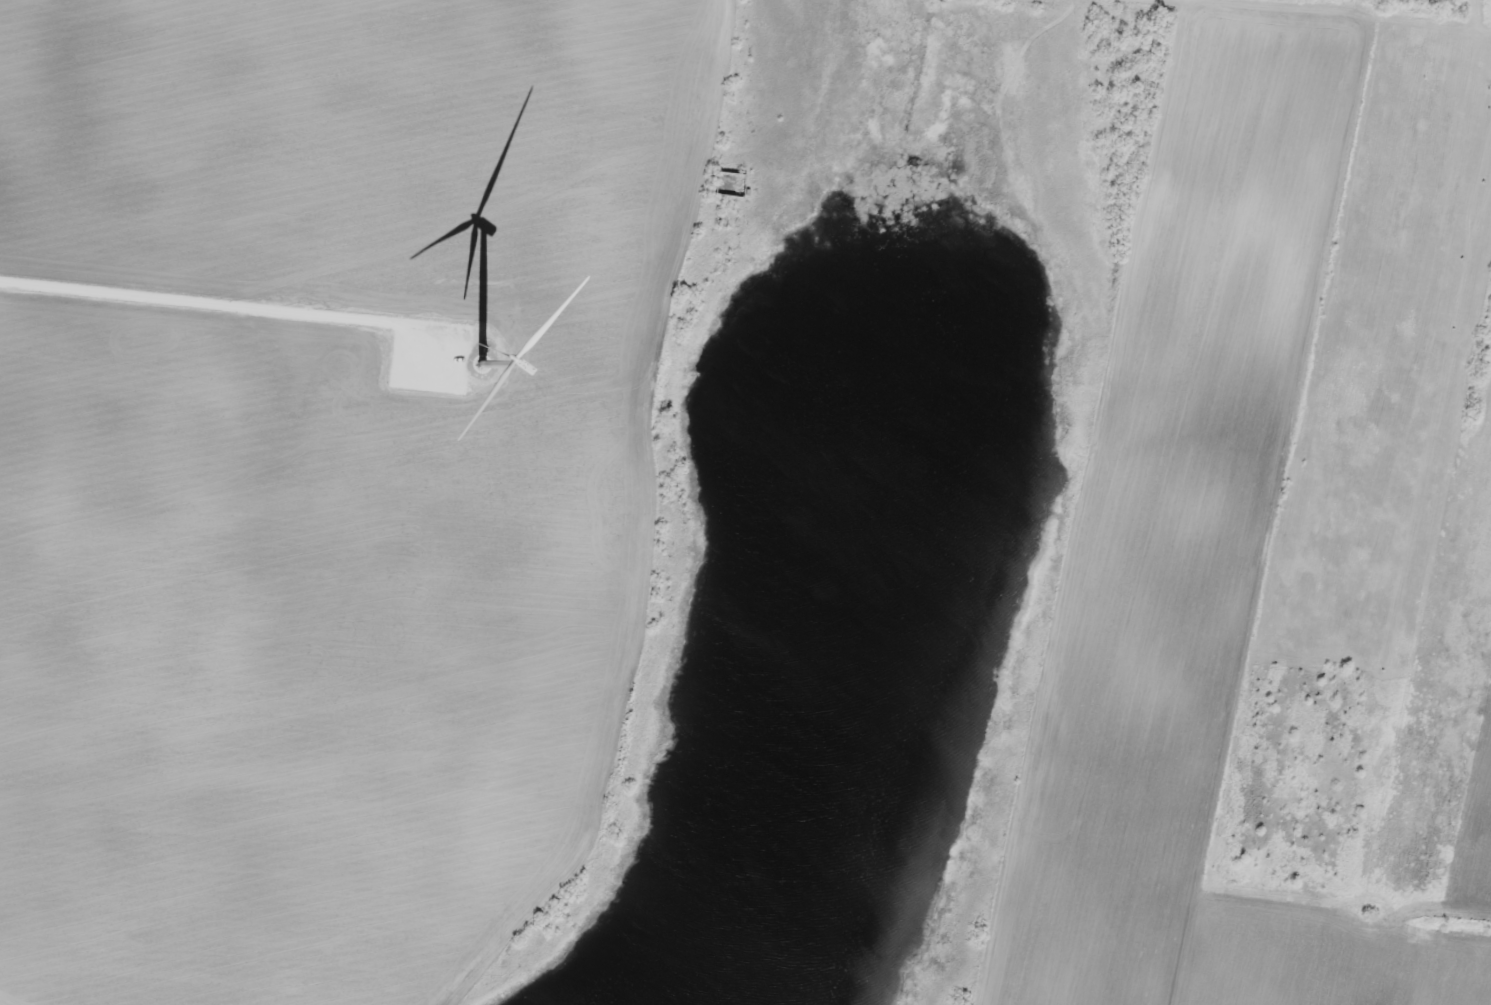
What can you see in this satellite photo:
road: (1365, 14)
wind turbine: (482, 357)

